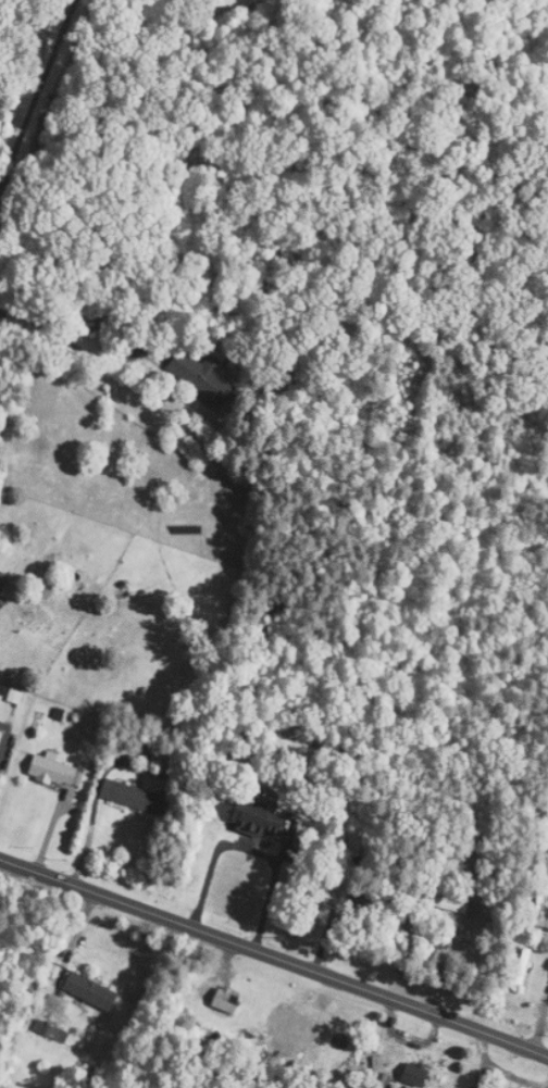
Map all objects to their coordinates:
road: (37, 97)
building: (95, 316)
building: (203, 376)
building: (54, 771)
building: (135, 797)
building: (261, 816)
road: (271, 891)
building: (372, 900)
road: (274, 958)
building: (522, 966)
building: (91, 992)
building: (227, 1001)
road: (539, 1022)
building: (290, 1026)
building: (418, 1075)

